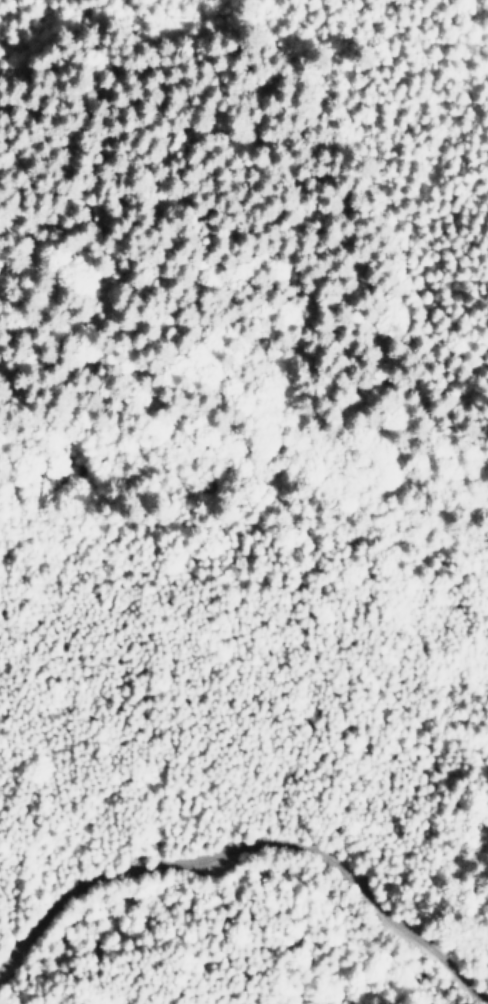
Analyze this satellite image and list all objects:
road: (251, 850)

